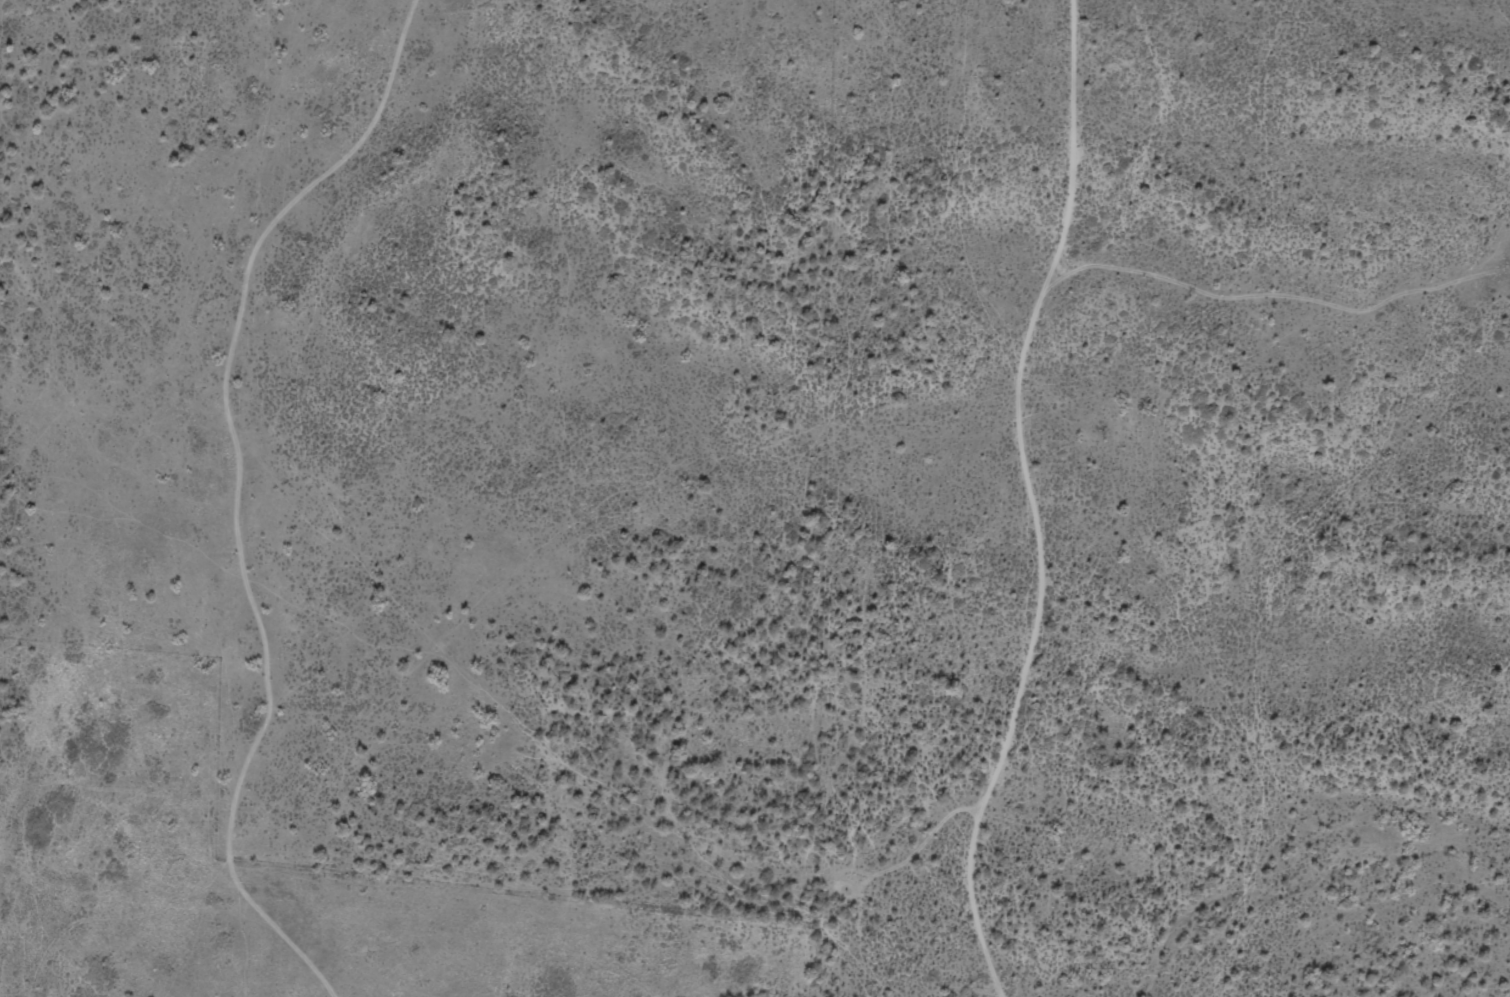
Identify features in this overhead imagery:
road: (223, 486)
road: (1040, 500)

